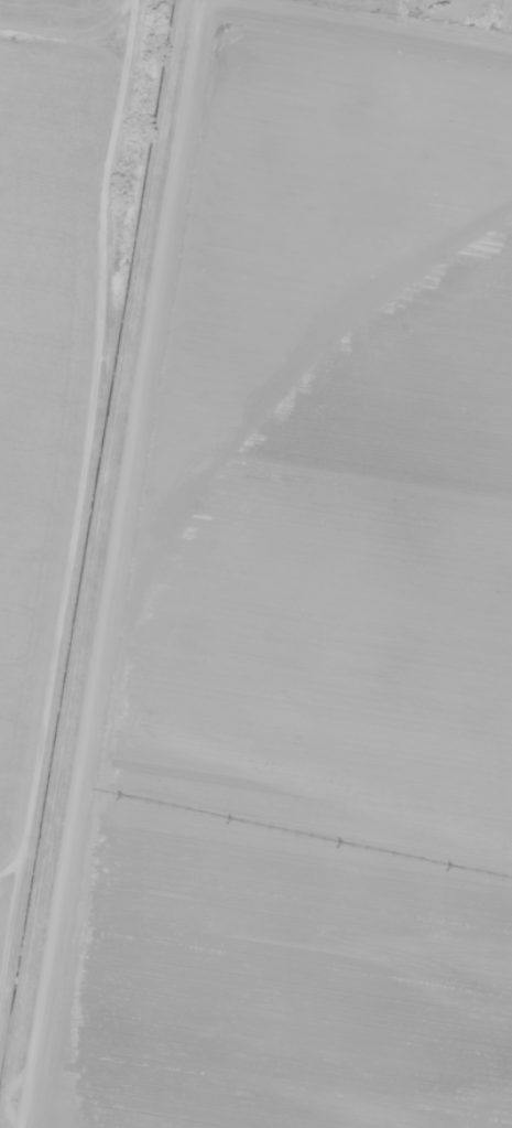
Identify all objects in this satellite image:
road: (352, 40)
road: (90, 72)
road: (107, 563)

